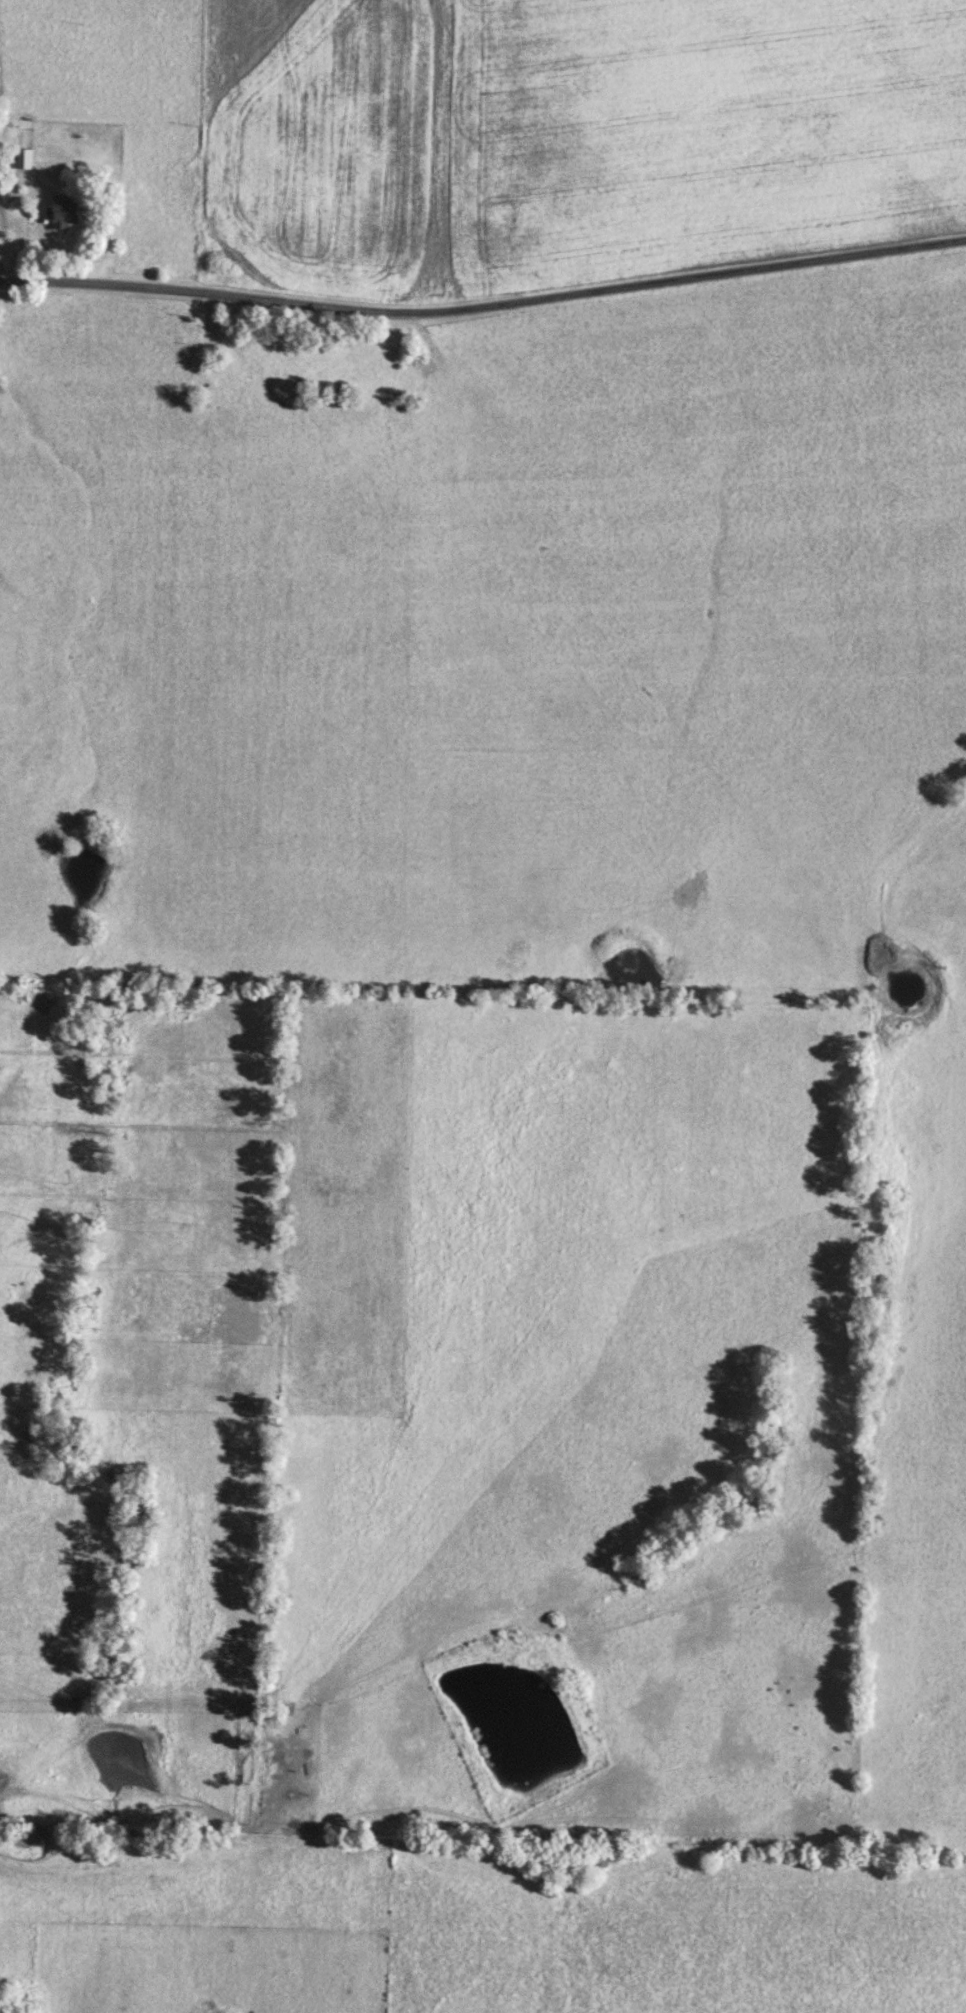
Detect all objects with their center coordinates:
building: (24, 157)
building: (67, 210)
road: (484, 307)

